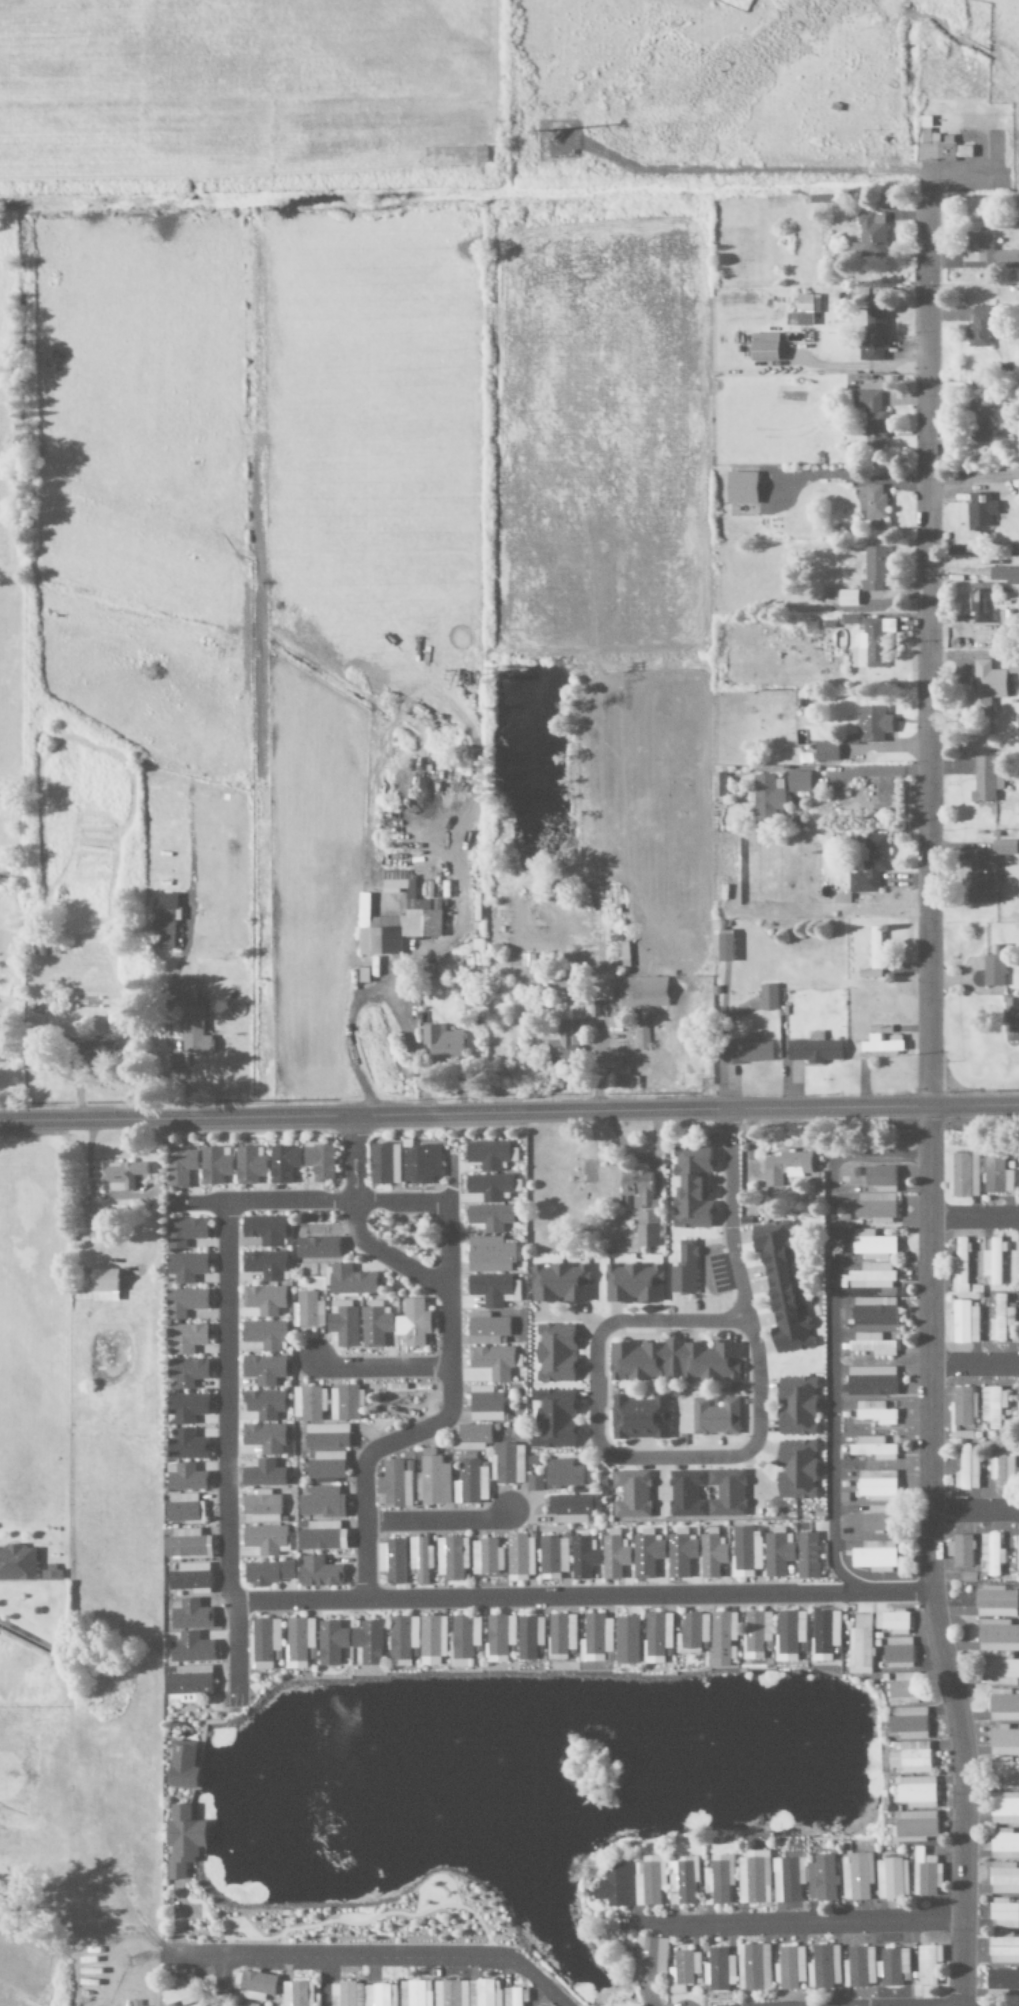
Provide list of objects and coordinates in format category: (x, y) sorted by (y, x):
crop: (243, 93)
building: (939, 148)
building: (871, 236)
building: (985, 251)
building: (806, 309)
building: (978, 327)
building: (872, 336)
building: (761, 347)
building: (871, 417)
building: (979, 421)
building: (740, 488)
building: (873, 502)
building: (979, 511)
building: (873, 569)
building: (1004, 575)
building: (846, 598)
building: (980, 605)
building: (850, 619)
building: (871, 643)
building: (1012, 665)
building: (985, 686)
building: (872, 724)
building: (825, 752)
building: (986, 778)
building: (718, 781)
building: (798, 782)
building: (868, 864)
building: (990, 871)
building: (395, 919)
building: (164, 922)
building: (723, 946)
building: (874, 953)
building: (994, 968)
building: (642, 992)
building: (767, 998)
building: (590, 1009)
building: (190, 1020)
building: (566, 1041)
building: (441, 1043)
building: (746, 1050)
building: (813, 1050)
building: (92, 1052)
building: (621, 1077)
road: (931, 1097)
road: (509, 1113)
building: (487, 1155)
building: (318, 1161)
building: (282, 1163)
building: (383, 1164)
building: (419, 1164)
building: (214, 1165)
building: (248, 1165)
building: (179, 1166)
building: (785, 1168)
building: (588, 1173)
building: (962, 1175)
building: (996, 1175)
building: (121, 1176)
building: (488, 1187)
building: (690, 1187)
building: (877, 1194)
road: (123, 1198)
building: (641, 1207)
road: (974, 1215)
building: (489, 1217)
building: (95, 1223)
building: (264, 1230)
building: (183, 1232)
building: (317, 1242)
building: (872, 1245)
building: (488, 1255)
building: (993, 1261)
building: (1017, 1263)
building: (264, 1265)
building: (185, 1267)
building: (959, 1267)
building: (871, 1277)
building: (681, 1280)
building: (350, 1281)
building: (559, 1283)
building: (633, 1284)
building: (103, 1285)
building: (781, 1287)
building: (489, 1289)
building: (264, 1300)
building: (183, 1303)
building: (307, 1311)
building: (873, 1312)
road: (450, 1321)
building: (1001, 1321)
building: (411, 1323)
building: (962, 1324)
building: (343, 1326)
building: (374, 1326)
road: (832, 1328)
building: (485, 1329)
building: (263, 1335)
building: (184, 1339)
building: (871, 1345)
building: (554, 1353)
building: (672, 1361)
building: (492, 1362)
road: (975, 1363)
road: (381, 1368)
building: (262, 1370)
building: (186, 1372)
building: (870, 1381)
building: (398, 1399)
building: (308, 1403)
building: (343, 1403)
building: (263, 1404)
building: (484, 1405)
building: (993, 1406)
building: (795, 1407)
building: (962, 1411)
building: (1018, 1412)
building: (874, 1413)
building: (714, 1417)
building: (639, 1418)
building: (553, 1419)
building: (185, 1427)
building: (326, 1437)
building: (470, 1437)
building: (264, 1439)
building: (872, 1448)
road: (712, 1458)
building: (510, 1464)
building: (1001, 1466)
building: (967, 1467)
building: (795, 1470)
building: (273, 1474)
building: (563, 1474)
building: (184, 1478)
building: (433, 1480)
building: (534, 1483)
building: (393, 1486)
building: (876, 1486)
building: (683, 1494)
building: (631, 1495)
building: (321, 1503)
building: (260, 1508)
building: (183, 1509)
road: (974, 1509)
building: (877, 1519)
road: (440, 1520)
building: (321, 1537)
building: (264, 1539)
building: (186, 1544)
building: (959, 1551)
building: (746, 1552)
building: (777, 1553)
building: (680, 1555)
building: (990, 1555)
building: (1017, 1555)
building: (646, 1556)
building: (712, 1556)
building: (807, 1556)
building: (486, 1557)
building: (874, 1557)
building: (451, 1558)
building: (520, 1558)
building: (552, 1558)
building: (582, 1558)
building: (613, 1558)
building: (419, 1560)
building: (391, 1561)
building: (16, 1564)
building: (51, 1573)
building: (266, 1573)
building: (318, 1573)
road: (232, 1583)
road: (582, 1597)
building: (995, 1602)
building: (892, 1622)
building: (789, 1632)
building: (826, 1632)
building: (561, 1634)
building: (692, 1634)
building: (499, 1635)
building: (756, 1635)
building: (997, 1636)
building: (463, 1637)
building: (529, 1637)
building: (656, 1637)
building: (298, 1639)
building: (595, 1639)
building: (264, 1640)
building: (402, 1640)
building: (721, 1640)
building: (431, 1641)
building: (626, 1641)
building: (331, 1643)
building: (368, 1643)
building: (861, 1645)
building: (190, 1649)
building: (899, 1653)
building: (1001, 1671)
building: (188, 1684)
building: (904, 1689)
building: (1003, 1706)
building: (909, 1723)
building: (1004, 1743)
building: (911, 1758)
building: (182, 1766)
building: (1004, 1774)
building: (917, 1792)
building: (1004, 1808)
building: (916, 1824)
building: (182, 1840)
building: (1004, 1844)
building: (925, 1874)
building: (857, 1877)
building: (889, 1878)
building: (789, 1879)
building: (822, 1879)
building: (1004, 1879)
building: (720, 1880)
building: (753, 1880)
building: (684, 1881)
building: (1004, 1914)
road: (367, 1922)
road: (796, 1924)
building: (1003, 1949)
building: (651, 1958)
road: (375, 1959)
building: (927, 1964)
building: (825, 1966)
building: (892, 1966)
building: (755, 1967)
building: (859, 1967)
building: (790, 1968)
building: (719, 1969)
building: (685, 1971)
building: (1002, 1979)
road: (221, 1982)
building: (254, 1985)
building: (180, 1993)
building: (298, 1993)
building: (415, 1993)
building: (451, 1993)
building: (484, 1993)
building: (346, 1994)
building: (381, 1995)
building: (515, 1997)
building: (249, 2005)

